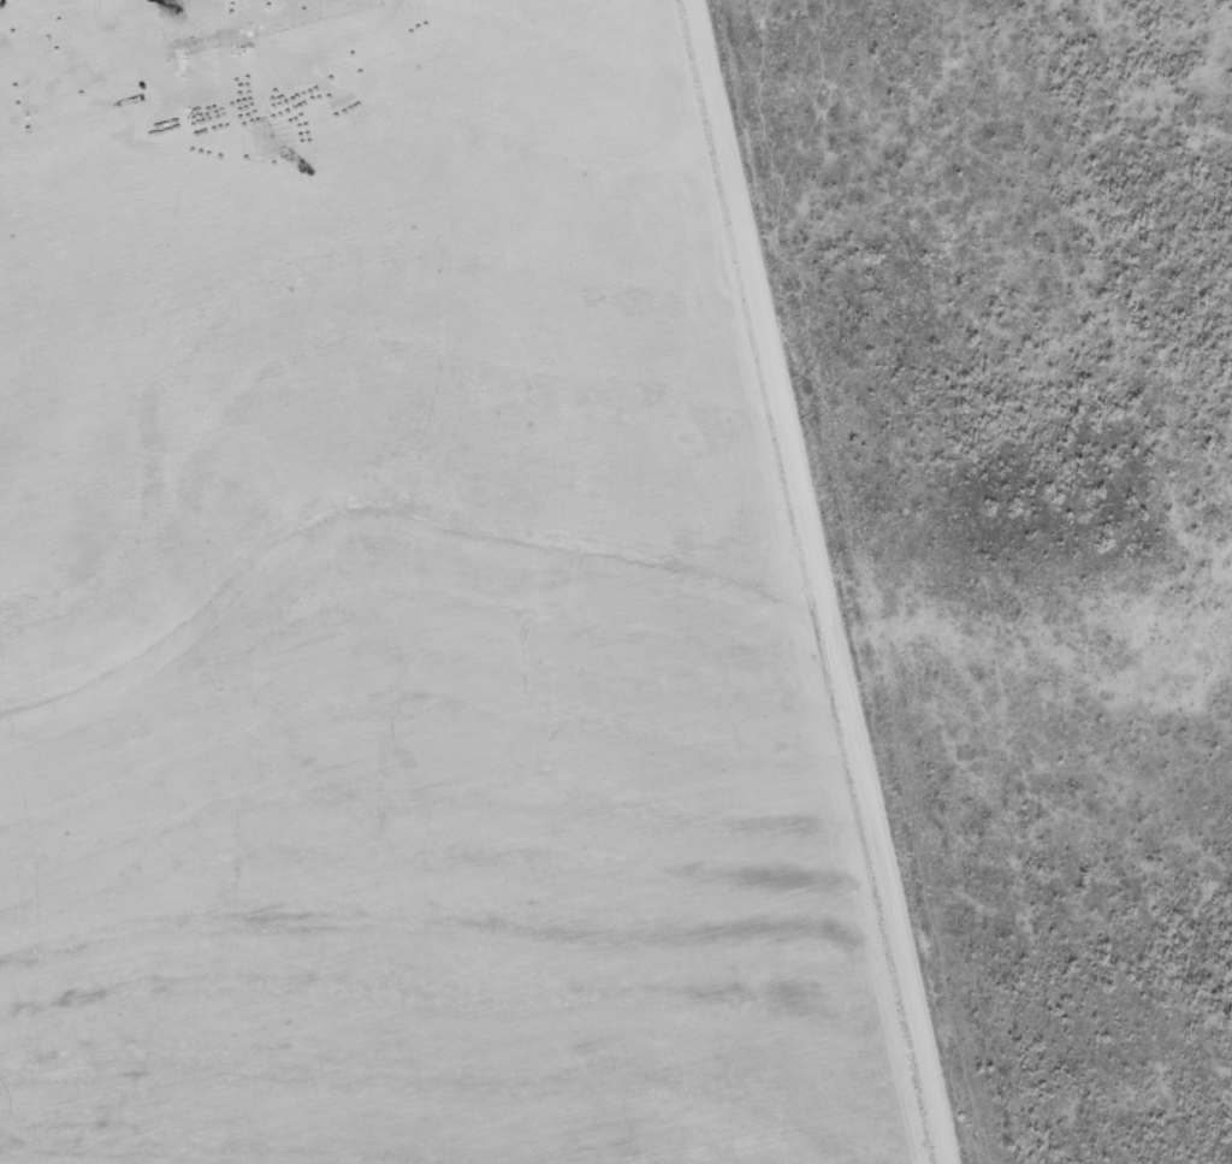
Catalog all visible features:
road: (384, 518)
road: (821, 581)

